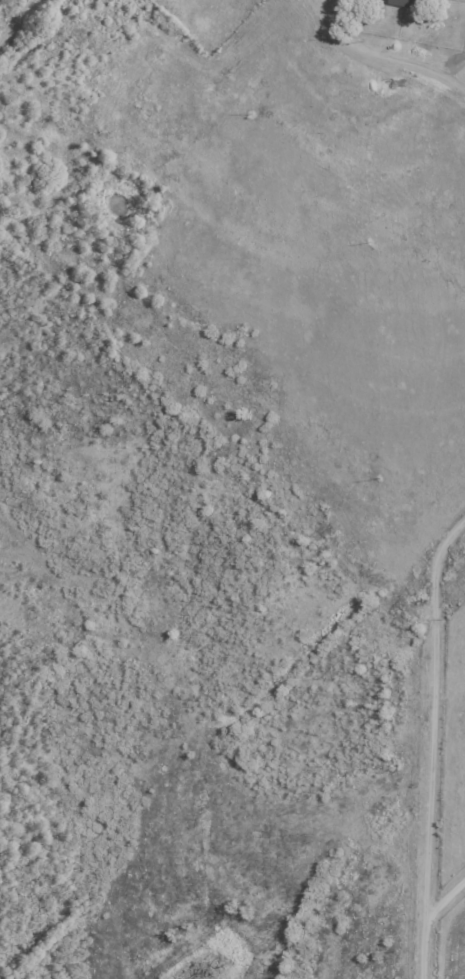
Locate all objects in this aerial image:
building: (414, 2)
road: (384, 56)
road: (431, 746)
road: (445, 900)

